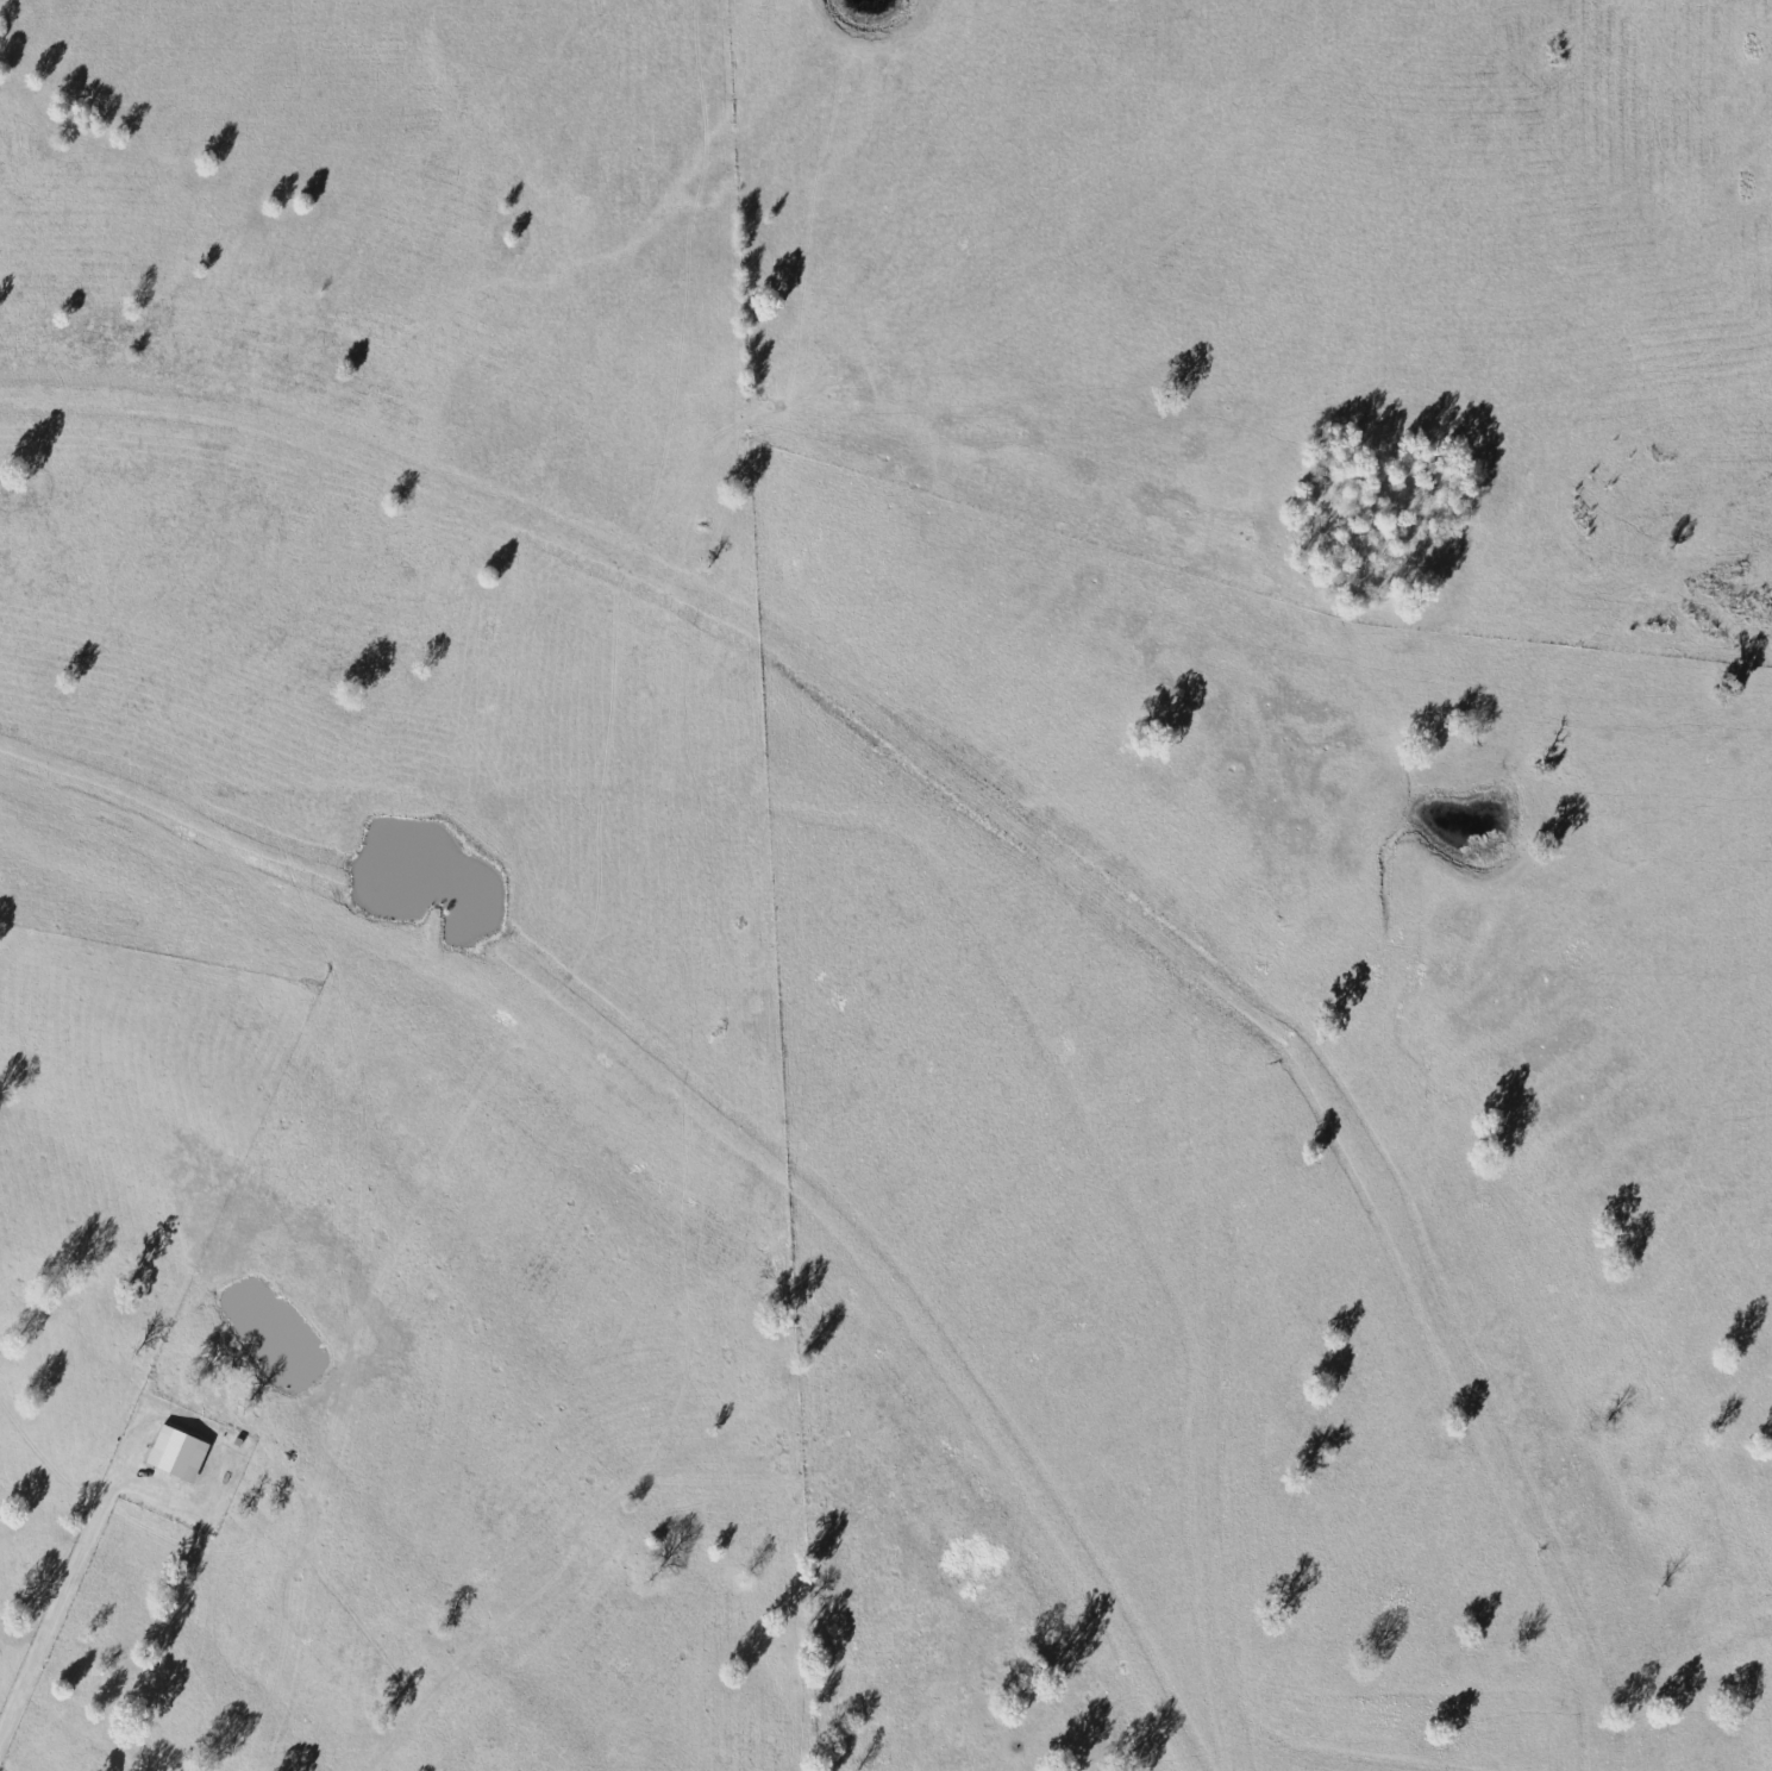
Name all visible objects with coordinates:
building: (182, 1453)

